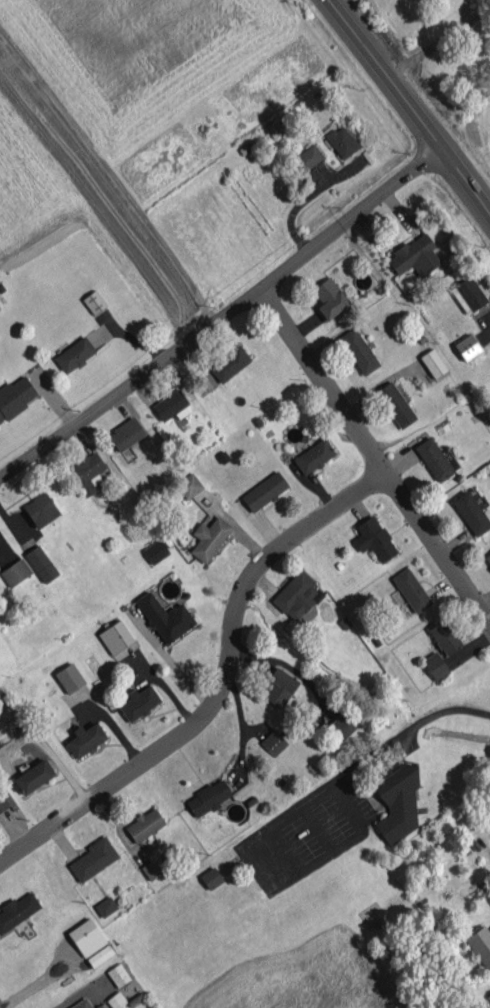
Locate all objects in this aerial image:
road: (467, 13)
road: (479, 27)
road: (426, 49)
road: (410, 106)
building: (273, 128)
building: (341, 141)
building: (307, 157)
road: (110, 173)
building: (414, 255)
building: (467, 294)
building: (328, 298)
road: (222, 316)
building: (467, 346)
building: (358, 350)
building: (74, 354)
building: (433, 362)
building: (229, 363)
building: (14, 396)
building: (395, 404)
building: (170, 405)
building: (125, 434)
building: (313, 456)
road: (371, 456)
building: (433, 459)
building: (86, 472)
building: (189, 485)
building: (264, 491)
building: (41, 509)
building: (471, 513)
building: (209, 538)
building: (374, 538)
building: (155, 551)
building: (488, 558)
building: (41, 563)
building: (15, 571)
building: (411, 589)
building: (296, 595)
building: (165, 617)
building: (115, 636)
building: (445, 636)
building: (435, 666)
building: (69, 677)
road: (218, 685)
building: (281, 686)
building: (139, 702)
building: (340, 727)
road: (406, 730)
building: (85, 739)
building: (273, 742)
building: (33, 776)
building: (208, 797)
building: (396, 801)
building: (3, 802)
building: (144, 824)
building: (93, 858)
building: (150, 869)
building: (211, 877)
road: (273, 883)
building: (105, 906)
building: (17, 910)
building: (86, 937)
building: (480, 945)
building: (99, 955)
building: (118, 974)
road: (75, 996)
building: (488, 996)
building: (115, 1000)

